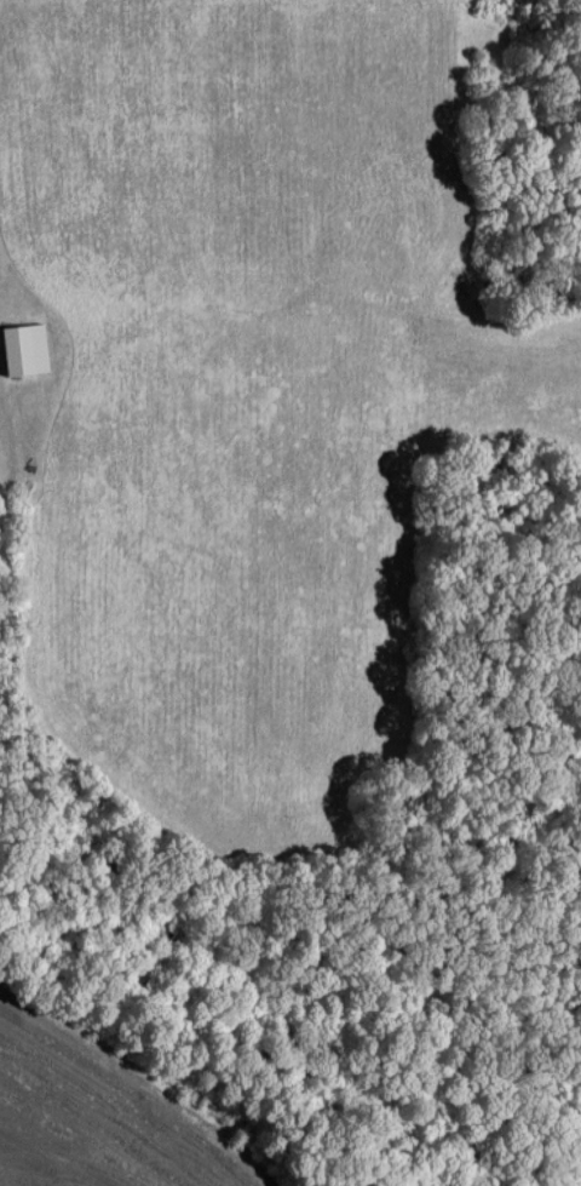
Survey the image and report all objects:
building: (27, 349)

